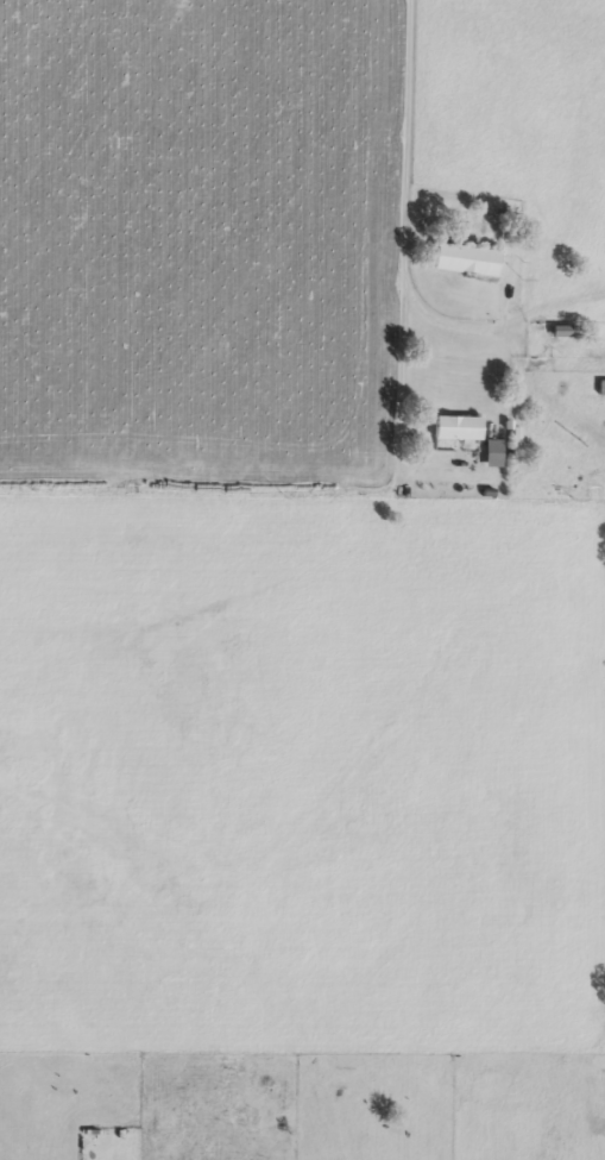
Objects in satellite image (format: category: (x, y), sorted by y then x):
road: (408, 119)
building: (461, 259)
building: (557, 331)
building: (599, 388)
building: (450, 427)
building: (487, 453)

